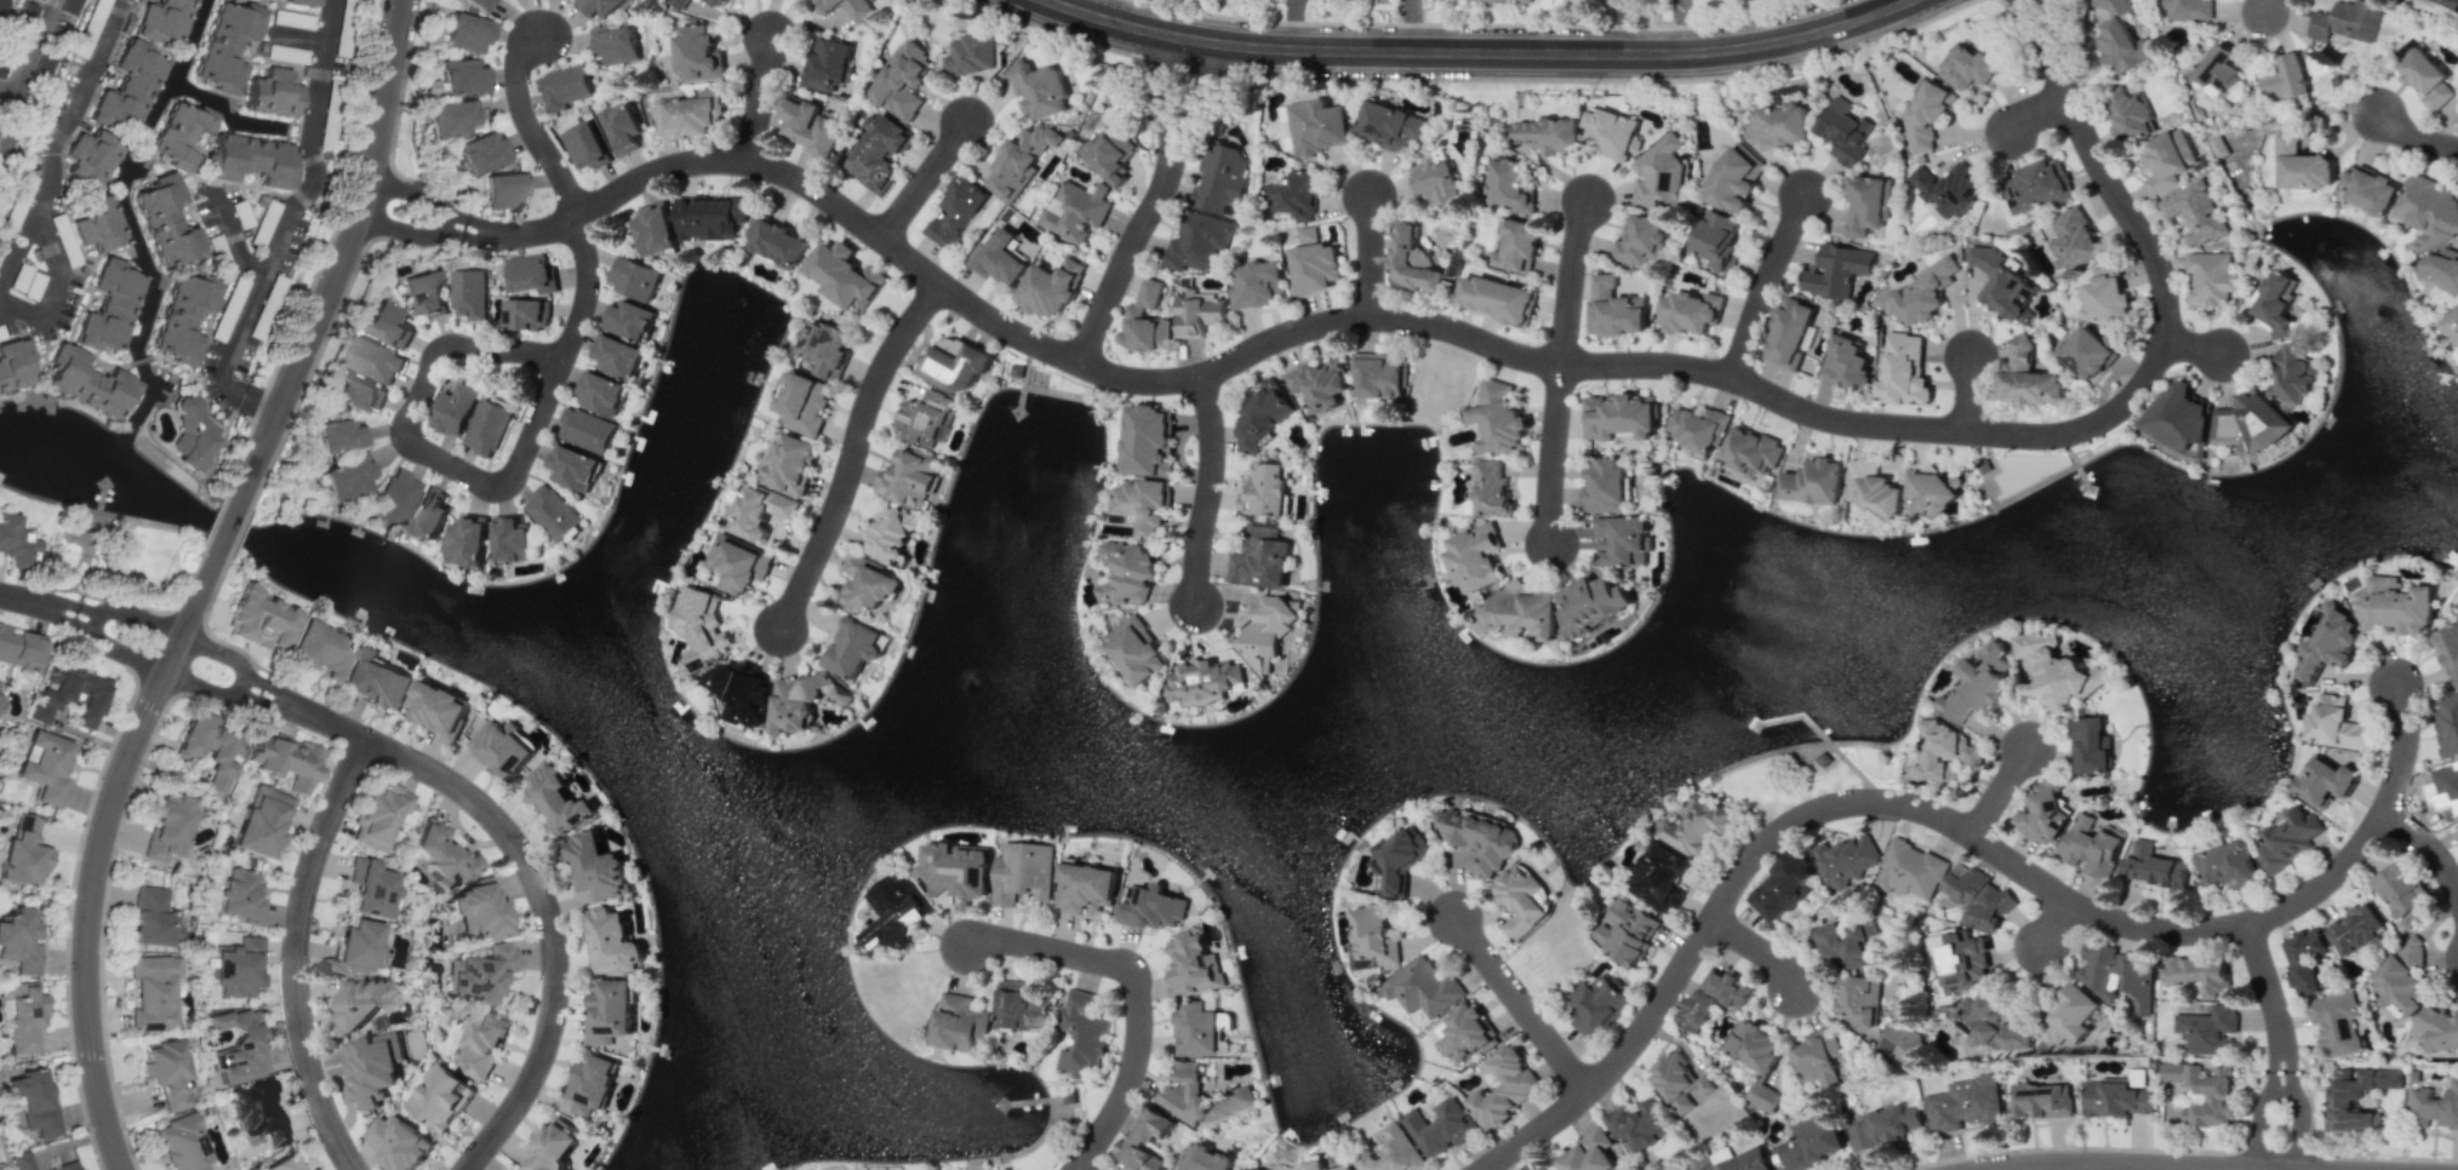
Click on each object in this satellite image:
building: (1499, 0)
building: (299, 2)
road: (1900, 2)
building: (479, 4)
building: (678, 4)
building: (719, 4)
building: (601, 6)
road: (2269, 6)
building: (846, 7)
building: (2188, 8)
building: (25, 15)
building: (164, 19)
building: (2345, 22)
road: (2050, 23)
road: (1291, 24)
road: (1411, 25)
road: (1686, 25)
building: (467, 33)
building: (2121, 38)
building: (616, 45)
building: (227, 46)
road: (1480, 51)
building: (697, 53)
building: (973, 55)
road: (25, 62)
building: (828, 63)
building: (1, 67)
building: (1968, 68)
building: (2216, 70)
building: (458, 75)
building: (2425, 78)
building: (2286, 79)
building: (903, 80)
building: (128, 87)
building: (564, 87)
building: (1040, 88)
building: (273, 93)
road: (1182, 96)
road: (761, 99)
road: (2039, 104)
building: (690, 115)
building: (2131, 115)
building: (450, 117)
building: (1926, 117)
road: (532, 124)
building: (811, 125)
building: (1315, 126)
building: (1391, 126)
building: (1780, 126)
building: (622, 127)
building: (1844, 131)
building: (181, 133)
building: (1612, 133)
building: (1547, 134)
road: (2416, 138)
building: (585, 145)
building: (876, 150)
building: (482, 151)
building: (1111, 155)
building: (91, 156)
building: (2167, 159)
building: (252, 160)
building: (1019, 161)
building: (2302, 165)
road: (44, 172)
building: (314, 172)
building: (1659, 173)
building: (1222, 179)
building: (1734, 179)
building: (1436, 180)
road: (927, 182)
building: (1511, 187)
building: (1949, 189)
building: (503, 190)
building: (2370, 190)
building: (1292, 195)
building: (1865, 205)
road: (413, 210)
building: (1079, 210)
building: (2428, 211)
building: (2195, 212)
building: (956, 213)
building: (709, 217)
building: (166, 222)
building: (97, 223)
road: (288, 226)
building: (654, 229)
building: (1309, 234)
road: (233, 237)
building: (2075, 237)
building: (1199, 240)
building: (1716, 240)
building: (1640, 241)
building: (778, 245)
building: (1516, 247)
road: (17, 250)
building: (1000, 257)
road: (1370, 257)
road: (1128, 258)
road: (347, 259)
building: (1411, 262)
building: (1315, 266)
building: (1836, 270)
building: (2441, 270)
building: (531, 273)
building: (842, 275)
building: (638, 277)
building: (2210, 277)
road: (1571, 280)
building: (1259, 283)
building: (2002, 283)
road: (1767, 285)
building: (1051, 288)
road: (588, 292)
building: (468, 293)
building: (1920, 293)
building: (424, 294)
building: (2105, 294)
building: (1497, 298)
building: (2276, 303)
building: (109, 306)
building: (1614, 309)
building: (1690, 311)
building: (525, 312)
building: (1200, 314)
building: (183, 317)
building: (630, 320)
building: (1145, 320)
building: (388, 323)
building: (2451, 325)
road: (1457, 332)
building: (1790, 333)
building: (825, 343)
road: (2199, 345)
building: (2087, 352)
building: (618, 356)
building: (373, 360)
building: (1847, 360)
building: (13, 363)
building: (954, 365)
building: (1904, 369)
road: (431, 371)
building: (2292, 374)
building: (1379, 375)
building: (2027, 378)
building: (85, 380)
building: (1316, 384)
building: (358, 392)
building: (600, 392)
road: (1967, 392)
building: (804, 403)
building: (453, 409)
building: (1263, 415)
building: (925, 417)
building: (1618, 417)
building: (2180, 418)
building: (1498, 419)
building: (2250, 424)
building: (486, 426)
building: (1697, 429)
building: (585, 430)
building: (194, 431)
building: (338, 435)
building: (1147, 440)
building: (1751, 451)
road: (854, 454)
road: (1554, 454)
building: (790, 463)
building: (572, 466)
building: (345, 477)
building: (908, 478)
building: (1813, 482)
building: (1605, 484)
building: (1870, 486)
building: (1490, 488)
building: (1264, 489)
building: (1933, 491)
road: (1212, 492)
building: (394, 498)
building: (1142, 504)
building: (758, 510)
building: (553, 512)
building: (428, 516)
road: (224, 534)
building: (887, 534)
building: (511, 538)
building: (468, 539)
building: (1622, 540)
building: (16, 543)
building: (1473, 557)
building: (1261, 558)
building: (739, 563)
building: (1127, 572)
building: (873, 584)
road: (19, 600)
road: (70, 604)
building: (1591, 604)
building: (2395, 606)
building: (1520, 612)
building: (262, 618)
road: (67, 619)
road: (96, 619)
building: (699, 629)
building: (1264, 630)
building: (2328, 643)
building: (856, 646)
building: (21, 648)
building: (321, 649)
building: (2450, 649)
building: (1133, 650)
building: (2054, 671)
building: (376, 679)
building: (1206, 679)
road: (238, 682)
building: (1977, 682)
road: (274, 689)
building: (741, 692)
building: (72, 696)
building: (0, 700)
building: (795, 701)
road: (265, 706)
building: (438, 707)
building: (2336, 722)
building: (2447, 724)
building: (2091, 744)
building: (507, 750)
building: (207, 751)
building: (1942, 756)
building: (285, 759)
building: (44, 765)
building: (2325, 781)
road: (2001, 791)
building: (556, 799)
building: (2043, 811)
building: (378, 816)
road: (1951, 821)
building: (259, 822)
building: (2457, 825)
building: (167, 826)
building: (1696, 828)
building: (1475, 837)
building: (2288, 837)
road: (2425, 844)
building: (2091, 845)
building: (441, 854)
building: (23, 855)
building: (1399, 856)
road: (98, 859)
building: (1846, 861)
building: (2227, 865)
building: (2153, 866)
building: (955, 870)
building: (1910, 870)
building: (1022, 872)
building: (1662, 877)
building: (1780, 885)
building: (1086, 887)
building: (371, 889)
building: (2399, 889)
road: (537, 890)
building: (238, 895)
building: (1979, 896)
building: (1517, 900)
building: (1151, 910)
building: (476, 911)
building: (892, 912)
building: (152, 918)
road: (2057, 924)
building: (2355, 928)
building: (1625, 931)
building: (1372, 939)
building: (19, 940)
building: (611, 944)
building: (1842, 945)
building: (355, 947)
road: (1761, 947)
road: (293, 953)
building: (1960, 958)
building: (2304, 960)
building: (1191, 964)
building: (236, 968)
building: (481, 973)
building: (2199, 974)
building: (2401, 976)
building: (2136, 982)
building: (1421, 986)
road: (2263, 986)
building: (152, 992)
road: (1138, 994)
building: (1711, 998)
building: (1860, 999)
building: (359, 1003)
road: (1522, 1004)
building: (1599, 1005)
building: (1021, 1008)
building: (608, 1011)
building: (23, 1017)
building: (2068, 1017)
building: (1225, 1021)
building: (959, 1022)
building: (2334, 1023)
building: (1989, 1025)
building: (1197, 1027)
building: (2435, 1028)
building: (2207, 1030)
building: (1467, 1032)
building: (1081, 1033)
building: (481, 1044)
building: (1903, 1045)
building: (236, 1046)
building: (1816, 1057)
building: (1756, 1059)
road: (2273, 1065)
road: (2288, 1066)
building: (372, 1067)
building: (166, 1072)
building: (1681, 1083)
building: (593, 1084)
building: (1505, 1086)
road: (2282, 1086)
building: (2203, 1092)
building: (436, 1096)
building: (1199, 1096)
building: (2354, 1096)
building: (2117, 1099)
building: (32, 1101)
building: (2041, 1101)
building: (1963, 1102)
building: (2434, 1106)
building: (256, 1112)
building: (1896, 1122)
building: (1640, 1125)
road: (2262, 1126)
building: (1440, 1128)
road: (2296, 1128)
building: (1860, 1135)
building: (1144, 1140)
building: (395, 1141)
building: (182, 1143)
building: (1813, 1143)
building: (551, 1146)
building: (1390, 1151)
building: (1588, 1153)
building: (1205, 1159)
building: (21, 1160)
building: (1736, 1162)
building: (282, 1163)
building: (1314, 1163)
building: (64, 1164)
road: (2116, 1166)
building: (1544, 1168)
road: (2056, 1168)
building: (840, 1169)
road: (1080, 1169)
building: (1245, 1169)

